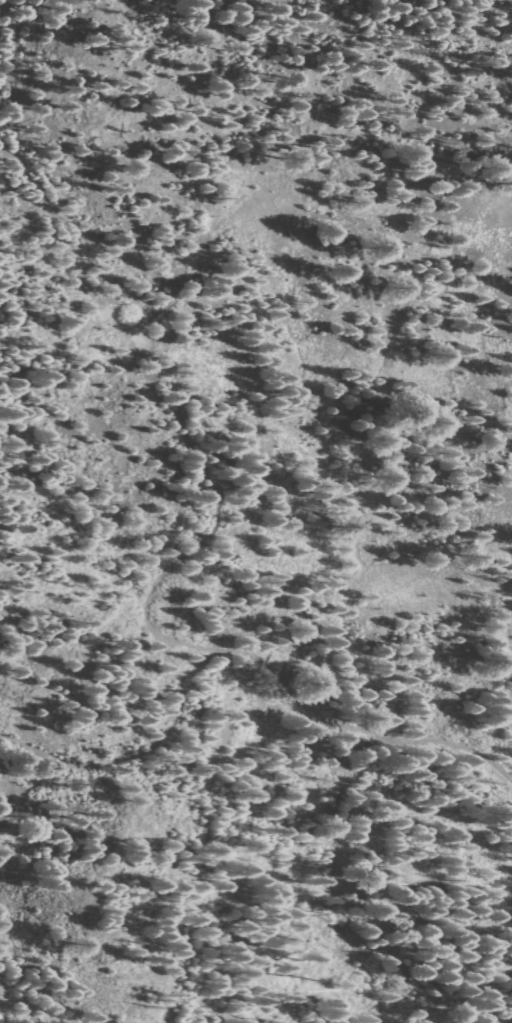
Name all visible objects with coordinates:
road: (13, 41)
road: (3, 94)
road: (8, 127)
road: (7, 162)
road: (179, 415)
road: (359, 728)

